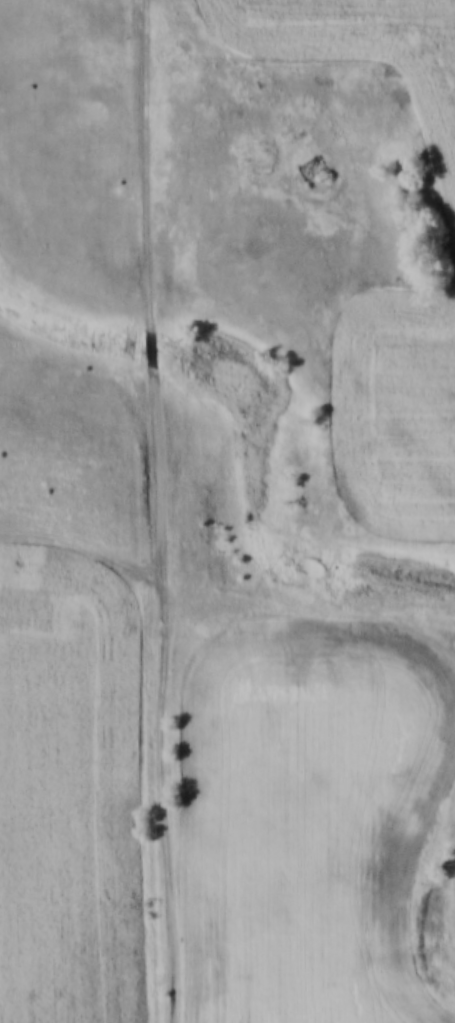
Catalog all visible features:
road: (166, 510)

